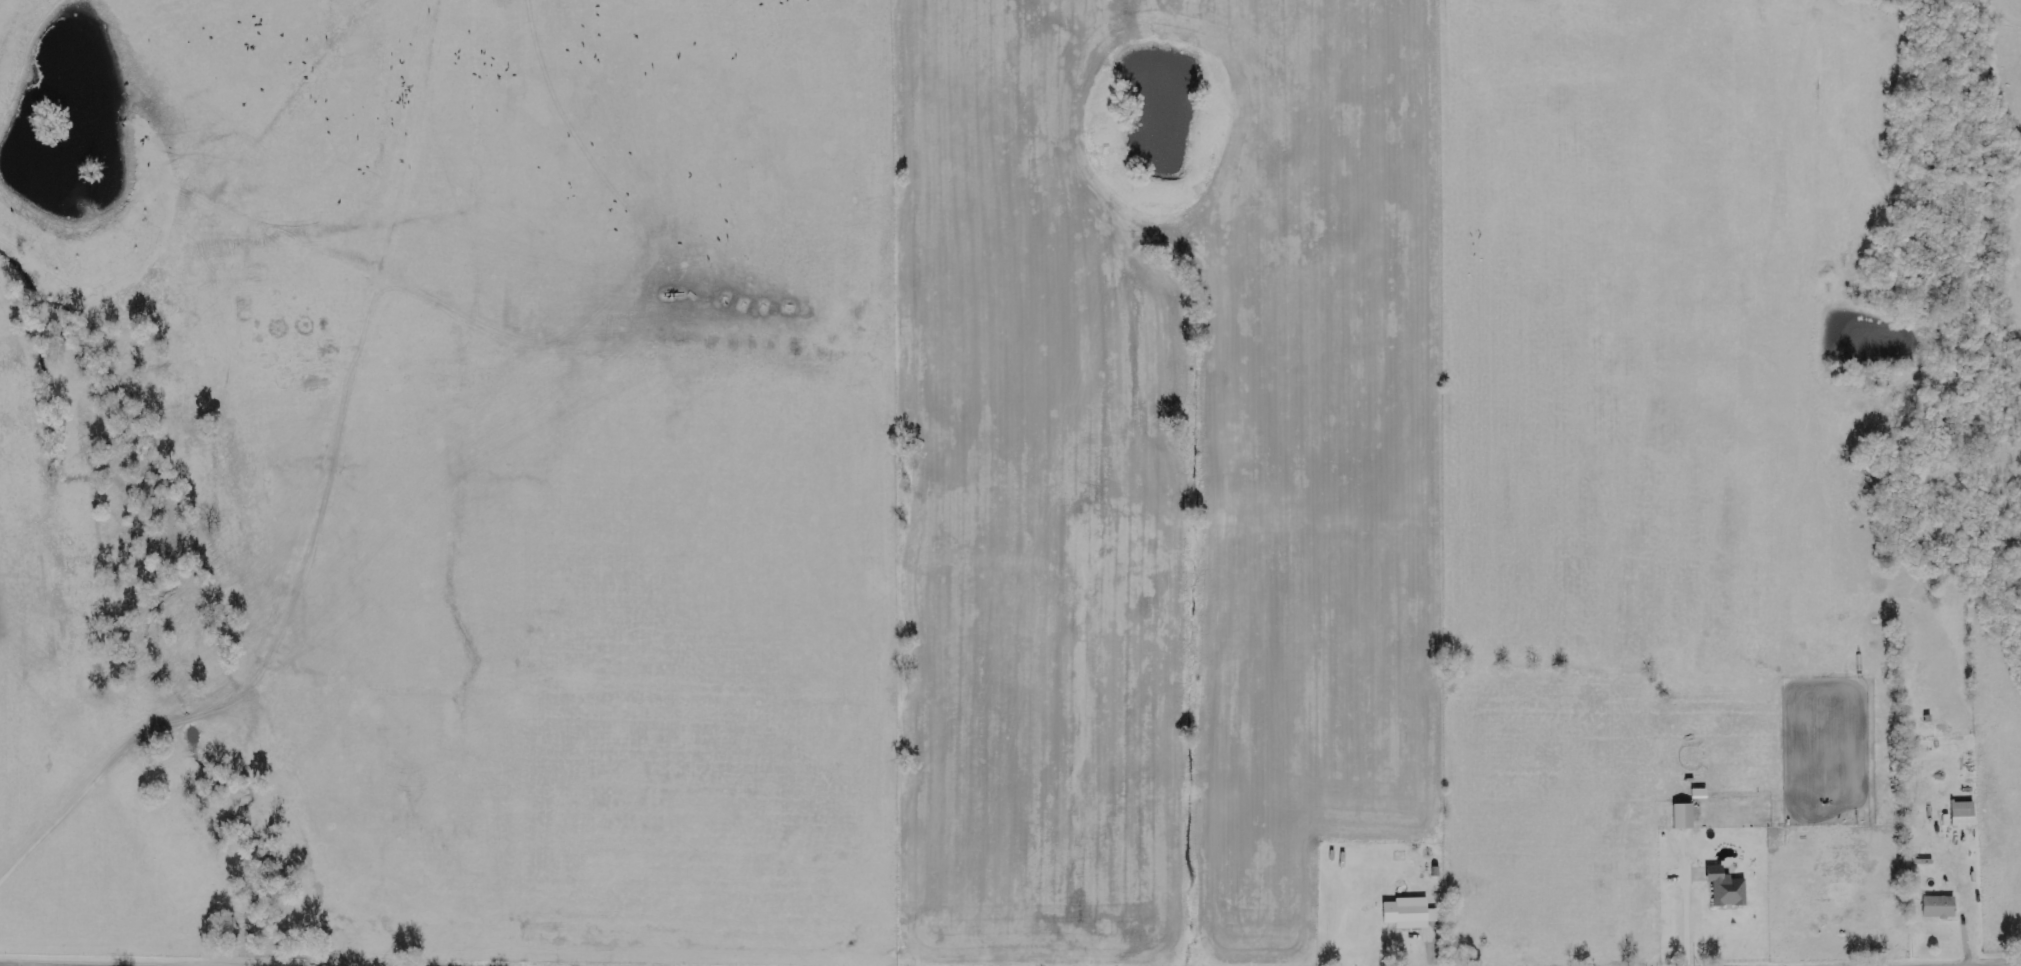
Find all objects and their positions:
building: (1963, 815)
building: (1687, 817)
building: (1942, 907)
building: (1412, 914)

